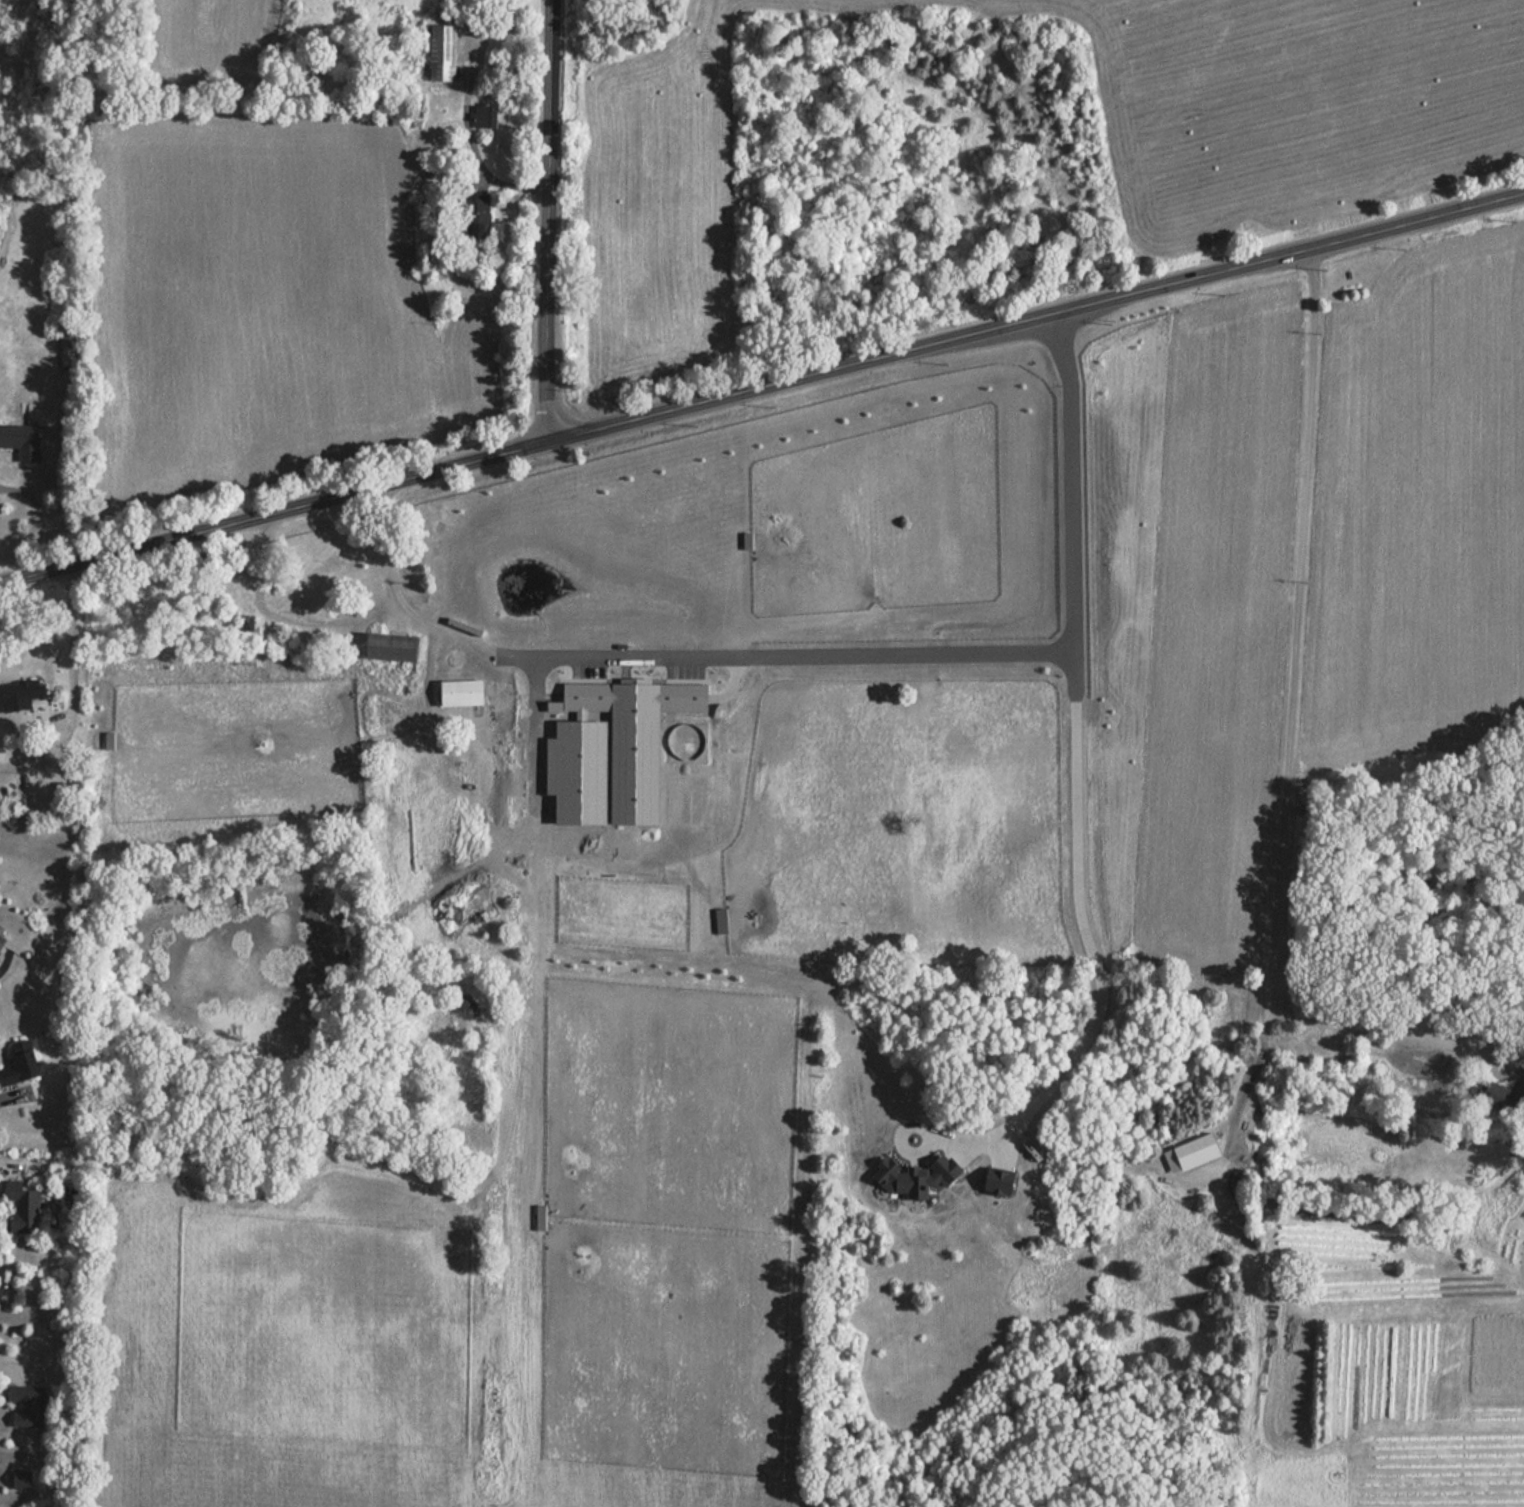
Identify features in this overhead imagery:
crop: (217, 39)
building: (443, 54)
crop: (1295, 101)
building: (487, 117)
crop: (667, 179)
building: (478, 217)
road: (547, 221)
crop: (265, 300)
road: (762, 386)
building: (22, 440)
road: (48, 511)
crop: (1299, 556)
building: (230, 580)
building: (395, 648)
road: (971, 673)
road: (72, 688)
building: (28, 690)
building: (463, 693)
road: (1291, 715)
building: (2, 941)
road: (1083, 943)
road: (1252, 1063)
building: (22, 1065)
building: (1504, 1094)
building: (1198, 1151)
building: (24, 1206)
building: (28, 1405)
building: (23, 1479)

